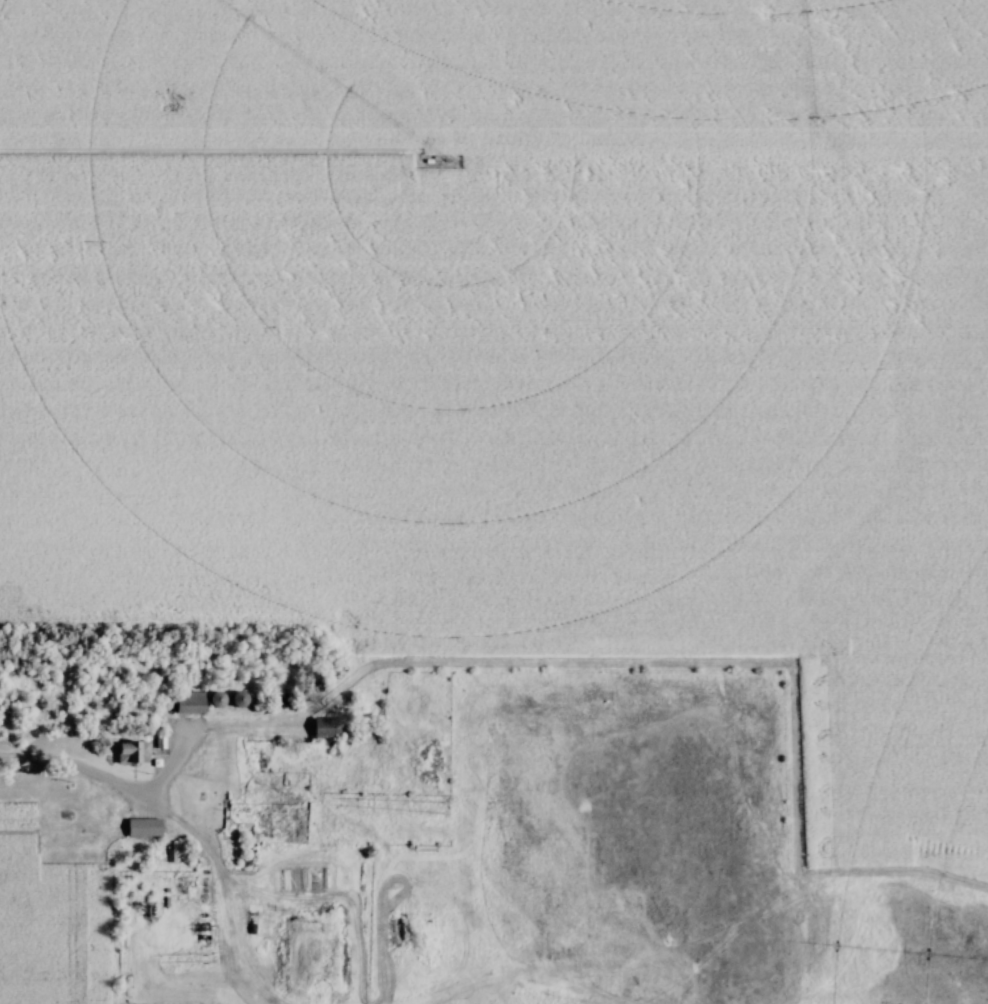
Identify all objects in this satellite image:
building: (221, 698)
building: (243, 698)
building: (193, 702)
building: (331, 727)
building: (136, 752)
road: (63, 768)
building: (146, 827)

